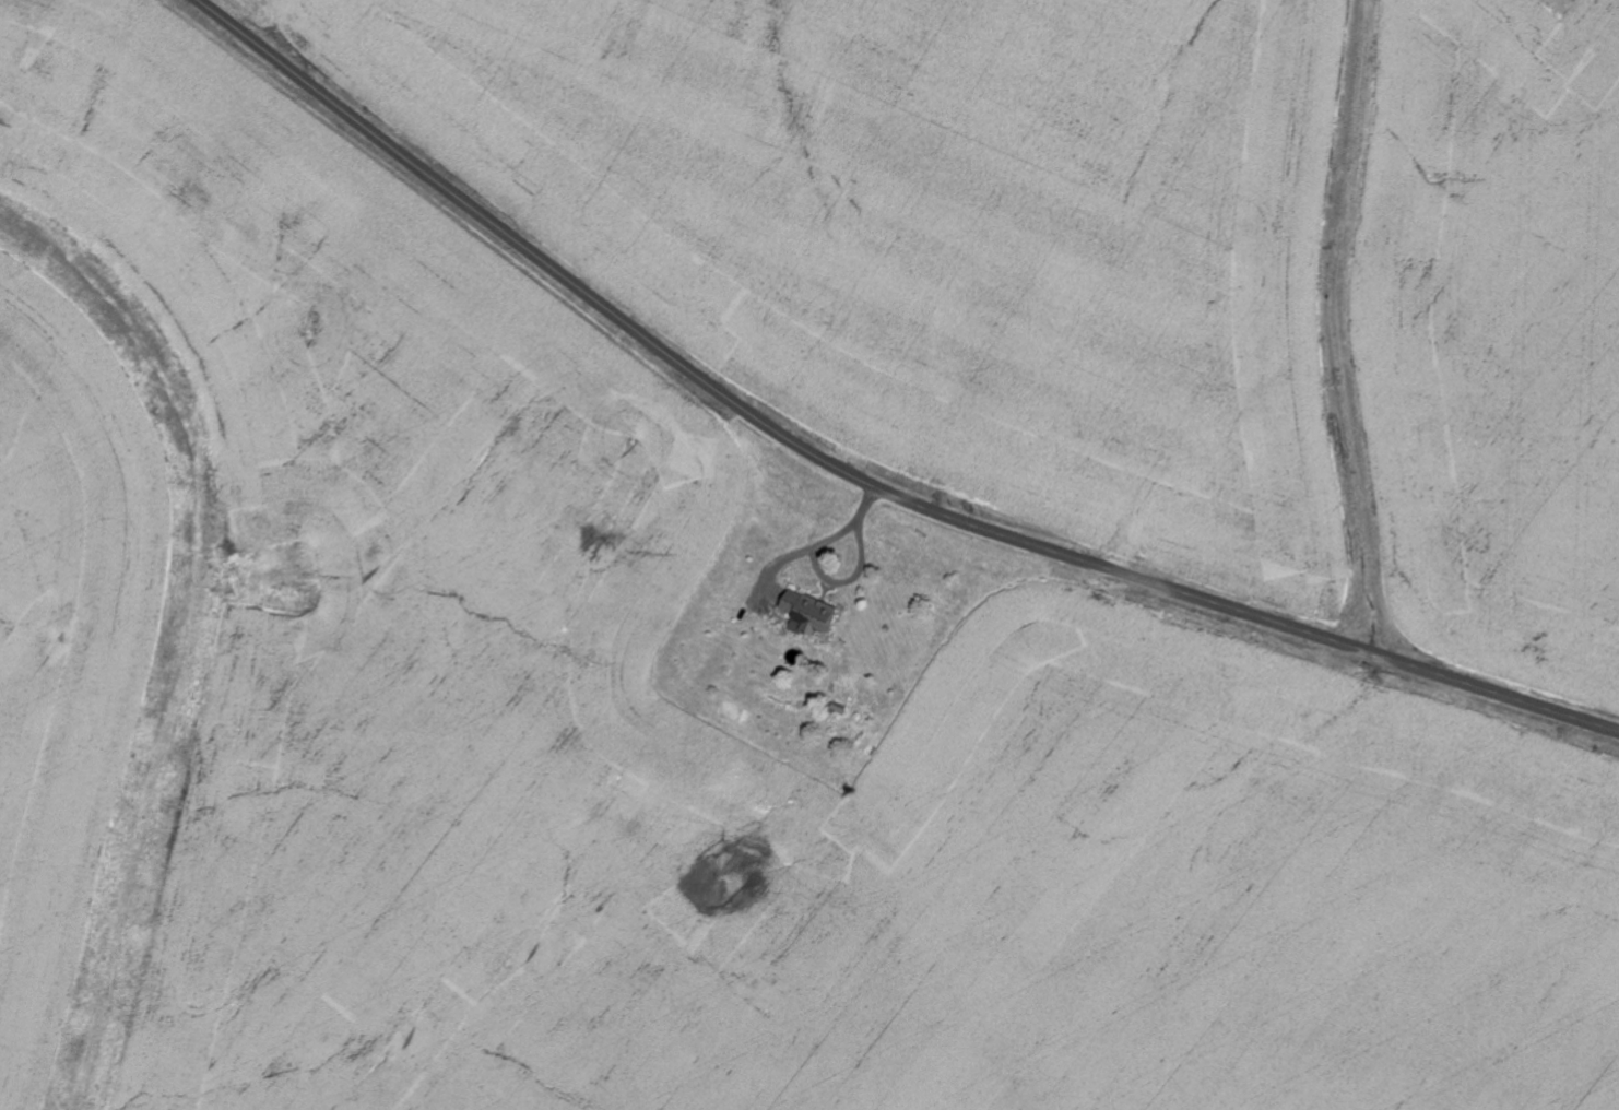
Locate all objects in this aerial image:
road: (851, 474)
road: (822, 544)
road: (853, 580)
building: (809, 614)

